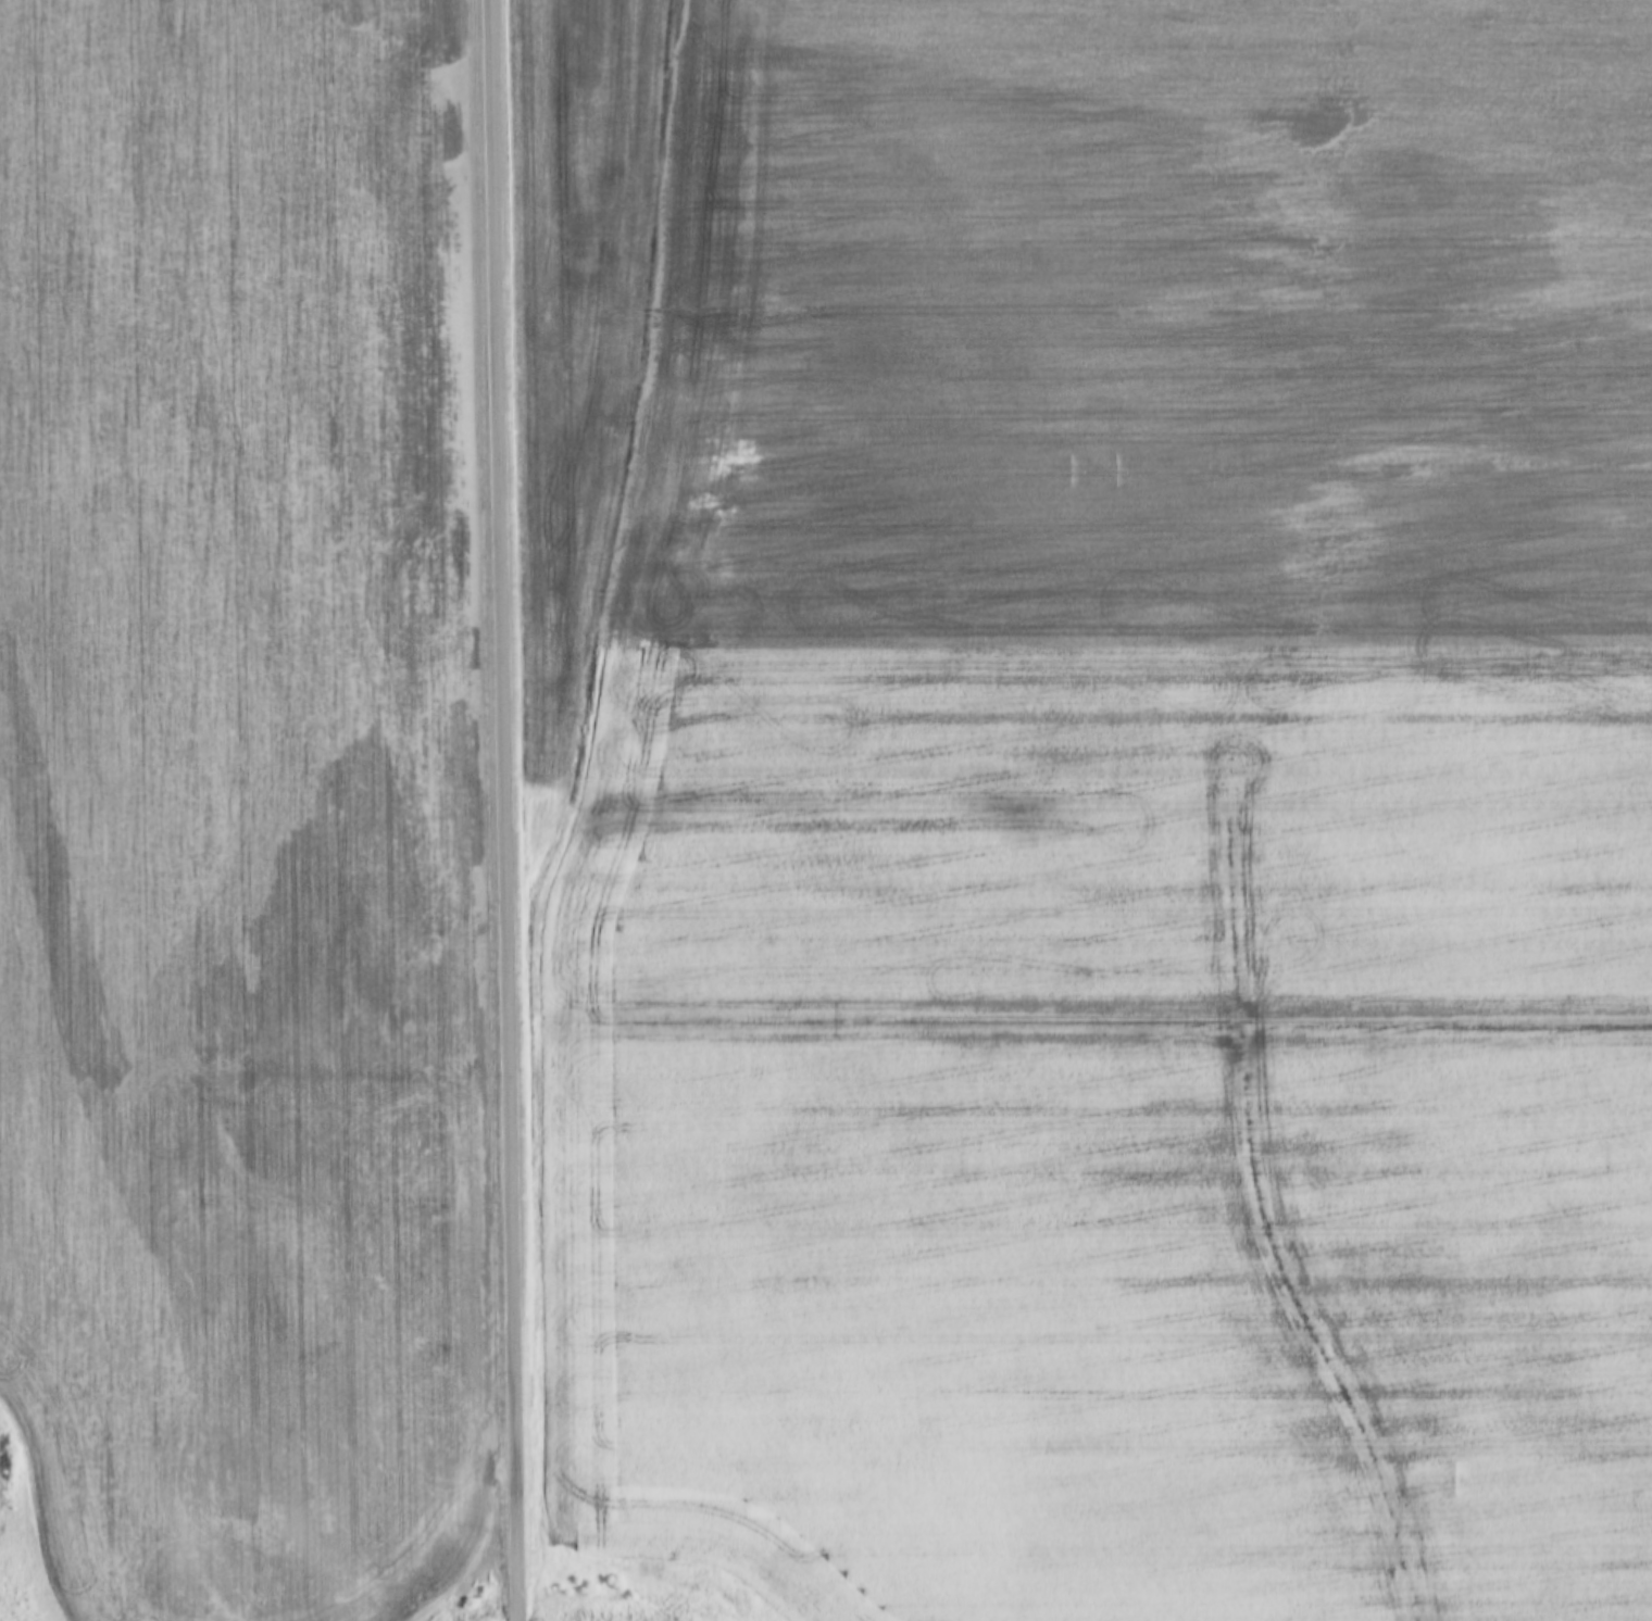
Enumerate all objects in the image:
road: (502, 809)

